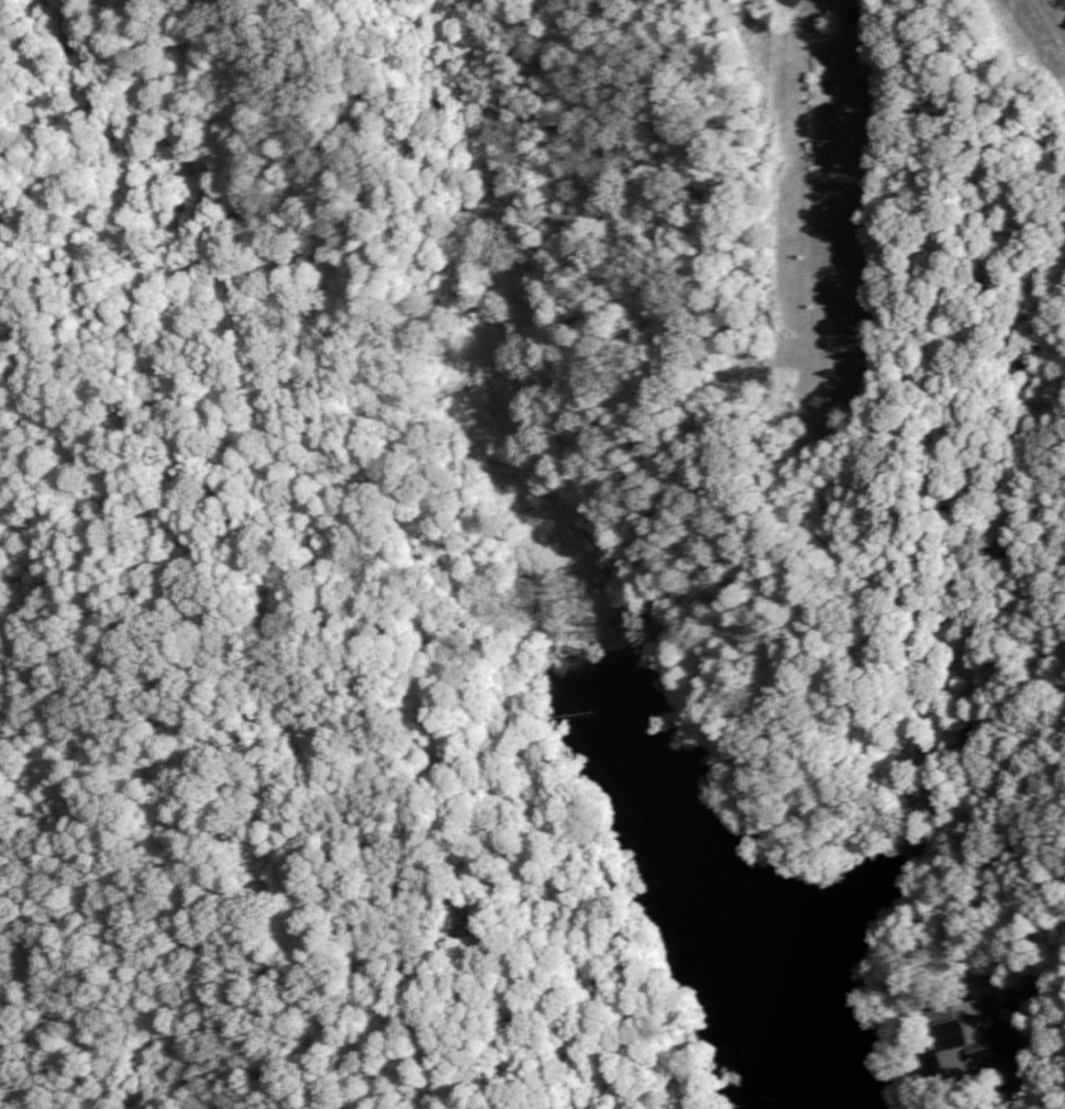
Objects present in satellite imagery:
road: (842, 114)
road: (1027, 1030)
building: (969, 1035)

